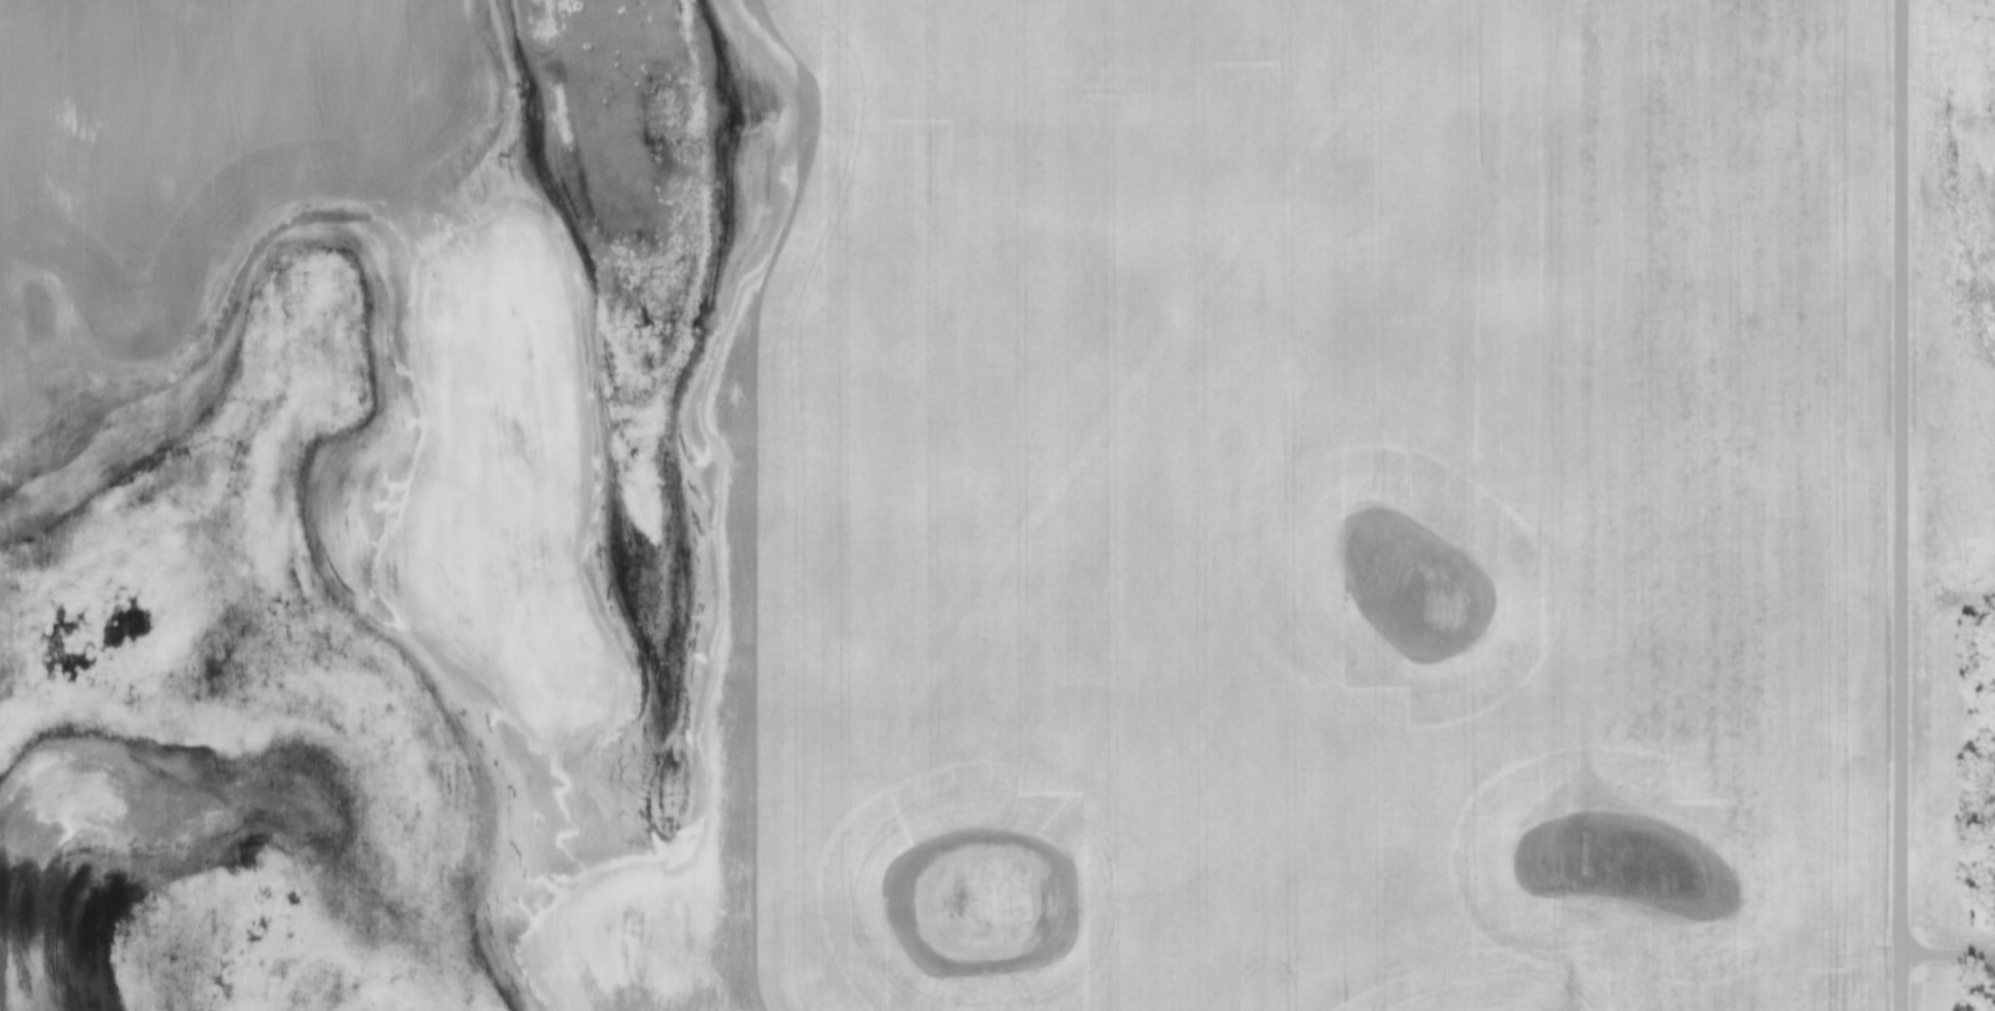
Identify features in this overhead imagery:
road: (1904, 505)
road: (1950, 944)

